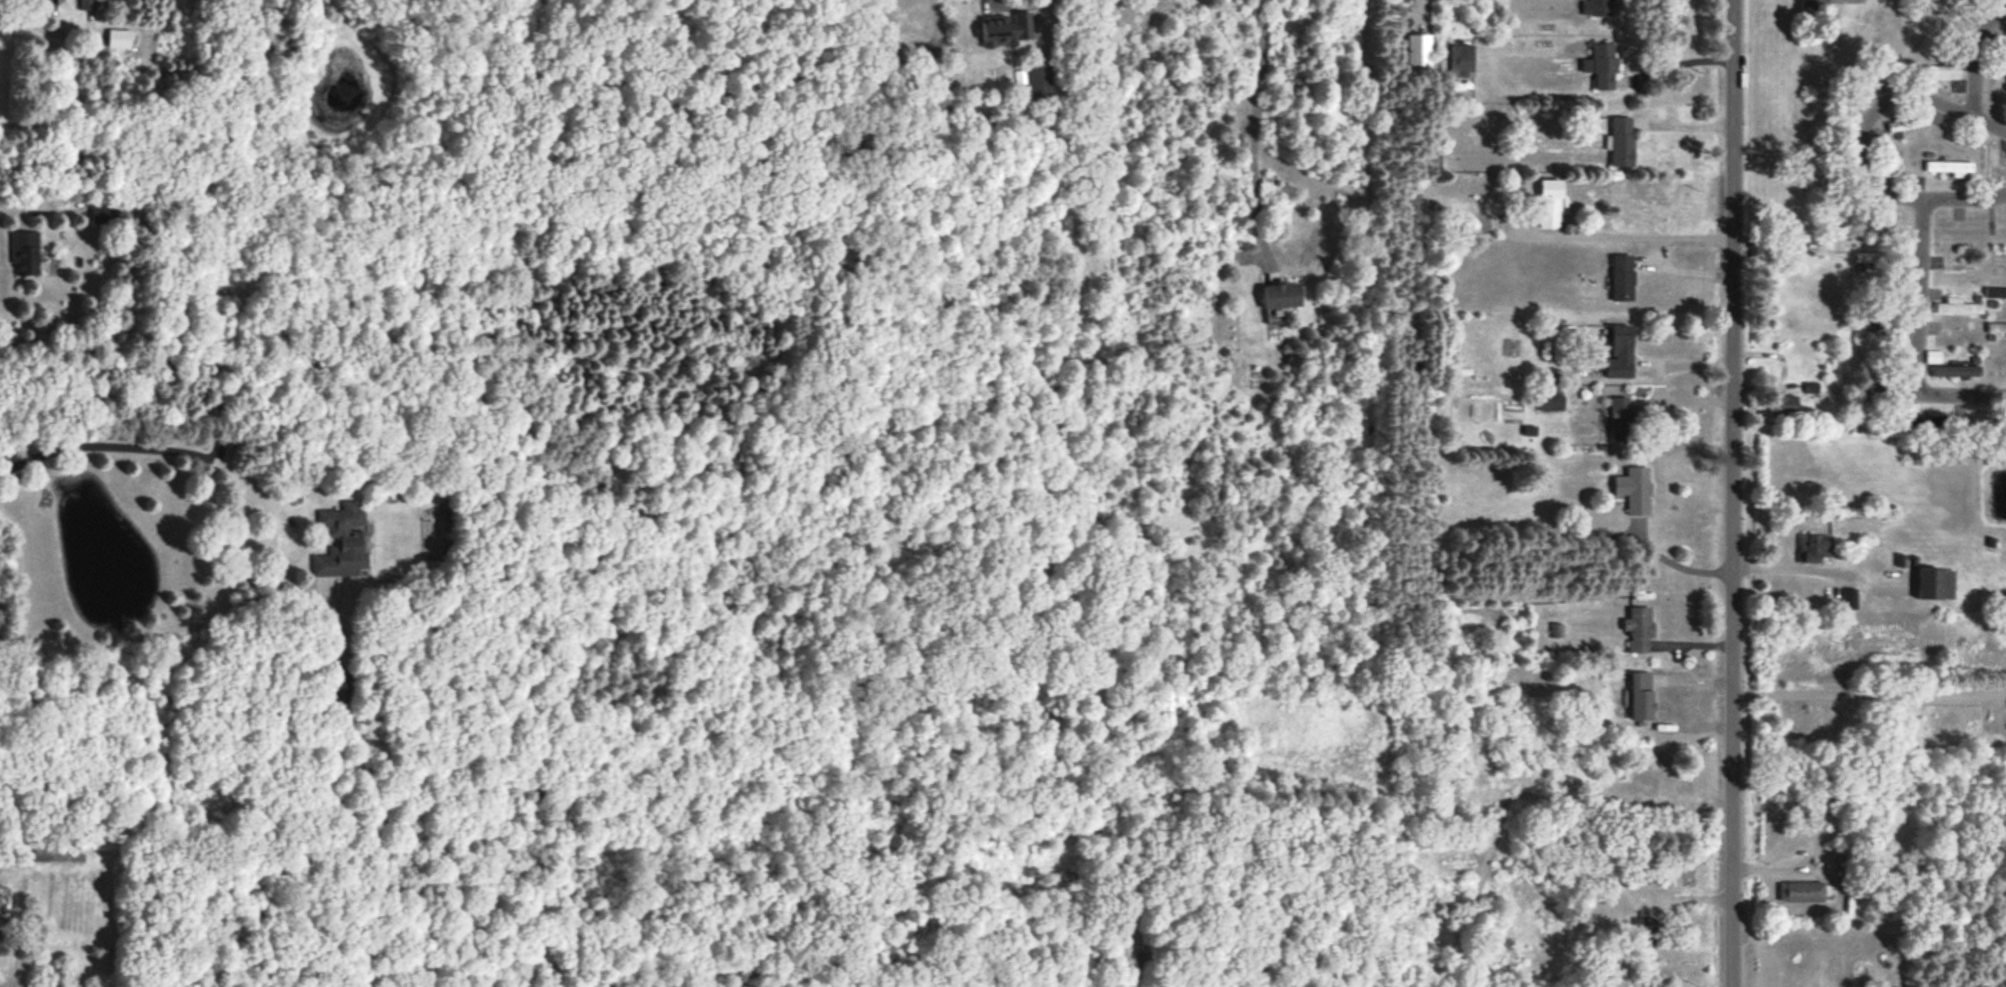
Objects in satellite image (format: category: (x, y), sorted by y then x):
building: (63, 2)
road: (990, 2)
road: (1048, 2)
building: (87, 4)
building: (1594, 7)
building: (1812, 7)
building: (1005, 29)
building: (2004, 32)
building: (118, 38)
building: (1418, 49)
road: (1973, 53)
building: (1461, 59)
road: (1674, 64)
building: (1600, 65)
building: (1941, 72)
building: (1039, 80)
building: (1906, 122)
road: (1252, 127)
road: (1859, 139)
building: (1620, 141)
building: (1991, 161)
building: (1948, 167)
building: (1549, 203)
road: (16, 205)
building: (103, 213)
road: (1631, 236)
building: (24, 251)
building: (1867, 256)
building: (1621, 277)
building: (1994, 292)
building: (1279, 299)
building: (1956, 306)
building: (1867, 322)
building: (1995, 327)
road: (1919, 334)
building: (1955, 340)
building: (1619, 352)
building: (1932, 356)
building: (1954, 370)
building: (1810, 386)
building: (1551, 401)
building: (1785, 404)
building: (1621, 419)
building: (1924, 424)
road: (139, 449)
building: (1633, 489)
road: (1733, 493)
building: (342, 541)
building: (1812, 547)
road: (294, 559)
road: (1677, 565)
road: (1788, 569)
building: (1934, 583)
building: (1849, 597)
building: (1556, 629)
road: (1869, 690)
building: (340, 692)
building: (1640, 695)
building: (1646, 776)
building: (58, 855)
building: (1800, 891)
building: (0, 910)
building: (1644, 931)

